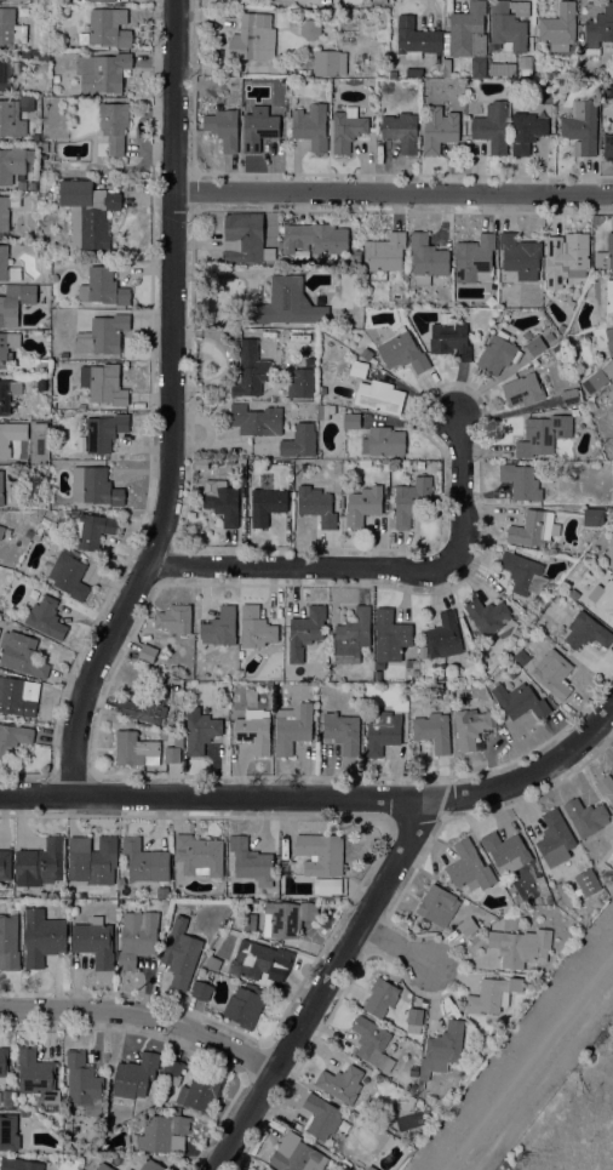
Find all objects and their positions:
building: (24, 0)
building: (45, 0)
building: (101, 0)
building: (80, 1)
building: (378, 1)
building: (509, 24)
building: (597, 25)
building: (558, 27)
building: (11, 28)
building: (107, 28)
building: (310, 29)
building: (466, 32)
building: (251, 36)
building: (417, 39)
building: (24, 55)
building: (42, 55)
building: (328, 63)
building: (527, 68)
building: (102, 72)
building: (5, 73)
building: (414, 74)
building: (56, 79)
building: (408, 81)
building: (25, 99)
building: (35, 116)
building: (11, 119)
building: (310, 126)
building: (492, 126)
building: (258, 127)
building: (582, 127)
building: (223, 129)
building: (111, 130)
building: (346, 130)
building: (439, 130)
building: (401, 131)
building: (526, 132)
building: (35, 137)
building: (44, 147)
building: (608, 147)
building: (13, 162)
building: (44, 171)
road: (350, 173)
building: (22, 186)
building: (31, 186)
road: (190, 192)
road: (394, 194)
building: (6, 210)
building: (87, 212)
building: (247, 239)
building: (316, 239)
building: (607, 253)
building: (384, 256)
building: (520, 256)
building: (428, 258)
building: (567, 258)
building: (474, 259)
building: (7, 267)
building: (405, 275)
building: (104, 287)
building: (574, 291)
building: (605, 297)
building: (18, 301)
building: (280, 302)
building: (491, 302)
building: (102, 335)
building: (549, 337)
building: (449, 338)
building: (609, 341)
building: (535, 346)
building: (557, 348)
building: (4, 349)
building: (402, 353)
building: (498, 353)
building: (357, 369)
building: (250, 370)
building: (598, 378)
building: (302, 381)
building: (104, 383)
building: (522, 389)
building: (322, 390)
building: (7, 394)
building: (611, 394)
building: (379, 396)
building: (569, 396)
building: (590, 405)
road: (172, 409)
building: (325, 410)
road: (486, 411)
building: (611, 412)
building: (256, 420)
building: (351, 421)
road: (150, 422)
building: (39, 426)
building: (104, 432)
building: (543, 434)
building: (10, 435)
building: (299, 441)
building: (383, 441)
building: (42, 458)
building: (237, 463)
building: (200, 464)
building: (521, 481)
building: (94, 486)
building: (1, 489)
building: (222, 500)
building: (267, 501)
building: (409, 501)
building: (363, 504)
building: (316, 506)
building: (594, 516)
building: (532, 529)
building: (91, 530)
building: (1, 531)
building: (28, 532)
building: (35, 536)
road: (166, 561)
road: (382, 567)
building: (522, 572)
building: (69, 576)
building: (602, 601)
building: (488, 615)
building: (46, 618)
building: (173, 618)
building: (219, 627)
building: (256, 627)
building: (305, 630)
building: (585, 630)
building: (353, 635)
building: (390, 635)
building: (443, 635)
building: (148, 652)
building: (423, 652)
building: (22, 654)
building: (521, 656)
building: (414, 663)
building: (552, 673)
building: (251, 695)
building: (18, 697)
building: (520, 701)
building: (148, 706)
building: (471, 726)
building: (292, 727)
building: (200, 730)
building: (254, 730)
building: (343, 731)
building: (434, 731)
building: (382, 732)
building: (12, 737)
building: (136, 749)
building: (173, 749)
road: (492, 764)
road: (396, 769)
road: (305, 771)
road: (328, 771)
road: (218, 774)
road: (240, 774)
road: (73, 776)
road: (442, 777)
road: (172, 780)
building: (606, 786)
road: (214, 798)
road: (443, 806)
road: (394, 810)
road: (499, 812)
road: (176, 815)
road: (417, 817)
building: (585, 817)
road: (282, 818)
road: (160, 820)
road: (265, 822)
building: (555, 838)
road: (432, 843)
building: (588, 847)
building: (506, 851)
building: (321, 854)
building: (199, 855)
building: (592, 855)
building: (92, 861)
building: (145, 861)
building: (41, 862)
building: (251, 862)
building: (5, 864)
building: (285, 867)
building: (469, 867)
building: (588, 881)
road: (359, 884)
building: (542, 884)
building: (327, 886)
road: (378, 891)
road: (357, 892)
building: (549, 900)
building: (17, 904)
building: (437, 904)
building: (279, 919)
building: (468, 926)
road: (376, 934)
building: (42, 936)
building: (137, 937)
building: (93, 941)
building: (8, 942)
road: (325, 943)
road: (395, 946)
building: (519, 946)
road: (443, 948)
building: (181, 953)
road: (460, 957)
building: (260, 960)
road: (463, 961)
building: (213, 963)
road: (453, 977)
road: (58, 984)
road: (76, 984)
road: (420, 986)
road: (145, 991)
building: (202, 991)
road: (302, 991)
road: (157, 994)
building: (492, 994)
building: (380, 997)
road: (434, 998)
building: (245, 1008)
road: (191, 1014)
road: (142, 1015)
building: (414, 1015)
road: (327, 1031)
road: (51, 1032)
road: (126, 1034)
road: (98, 1037)
road: (182, 1043)
building: (372, 1043)
road: (177, 1045)
building: (445, 1045)
park: (601, 1045)
road: (316, 1049)
road: (526, 1058)
building: (4, 1061)
road: (257, 1062)
building: (171, 1071)
building: (36, 1075)
building: (136, 1075)
building: (340, 1083)
building: (84, 1084)
building: (201, 1090)
building: (411, 1098)
road: (279, 1108)
building: (177, 1111)
building: (24, 1113)
building: (321, 1117)
road: (594, 1118)
building: (189, 1119)
road: (264, 1124)
building: (188, 1131)
building: (8, 1132)
building: (161, 1132)
building: (104, 1135)
building: (177, 1142)
building: (139, 1143)
road: (197, 1151)
building: (296, 1154)
road: (568, 1157)
building: (19, 1164)
building: (150, 1165)
building: (103, 1166)
building: (369, 1168)
building: (128, 1169)
building: (260, 1169)

